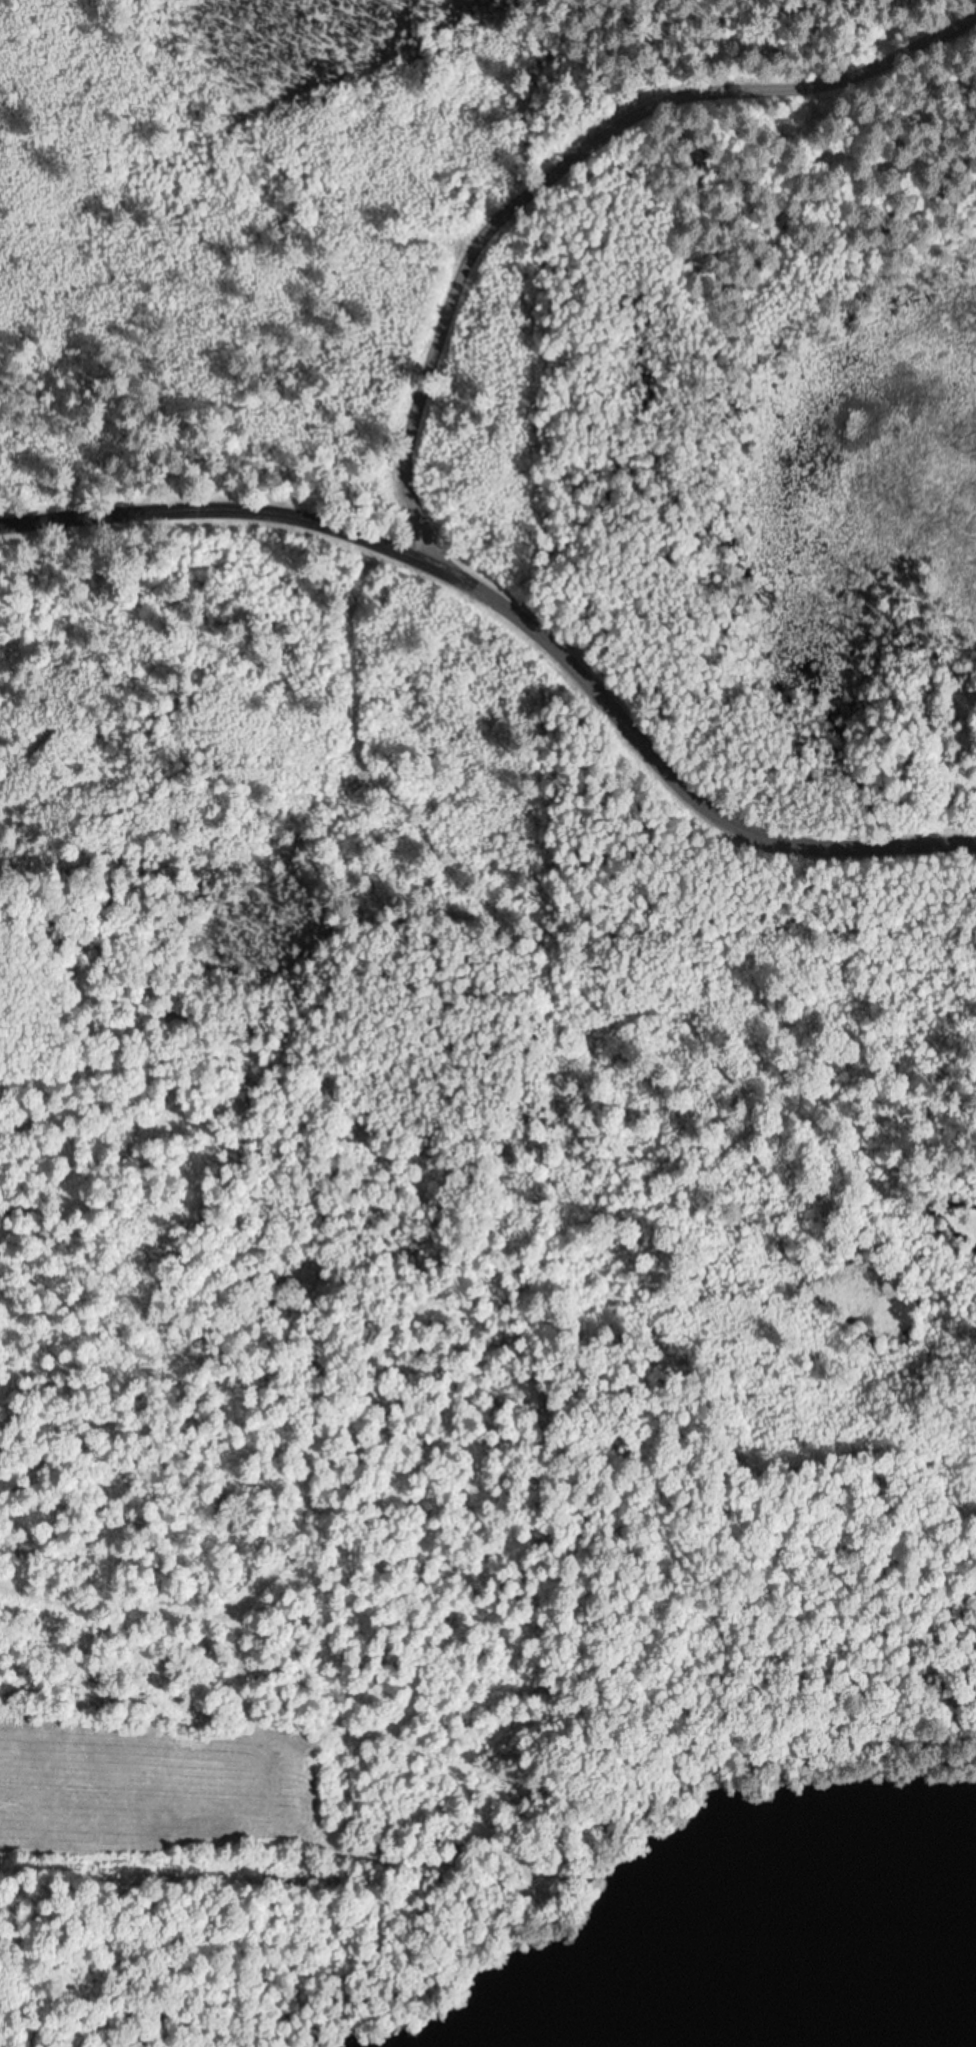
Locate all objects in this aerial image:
road: (549, 139)
road: (512, 628)
airport runway: (138, 1793)

